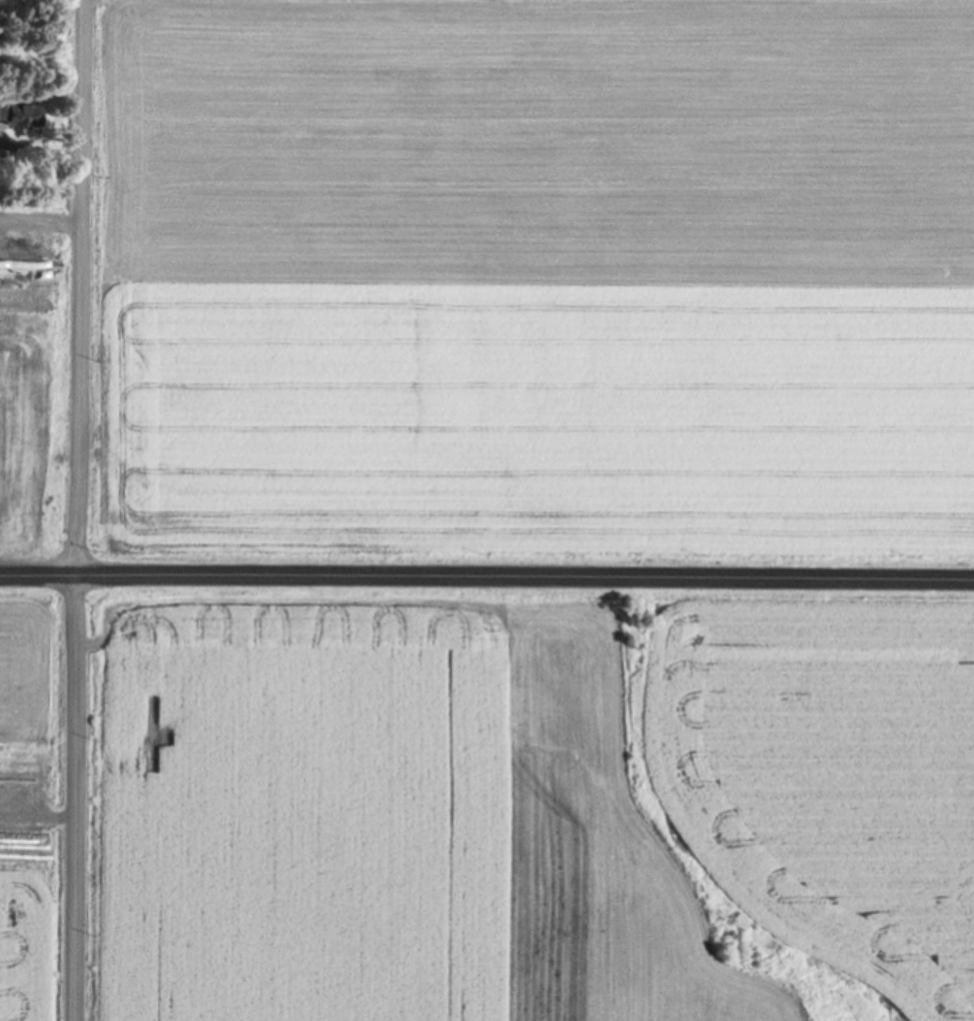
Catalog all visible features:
building: (20, 117)
road: (74, 510)
building: (17, 529)
road: (487, 577)
building: (12, 780)
building: (3, 814)

